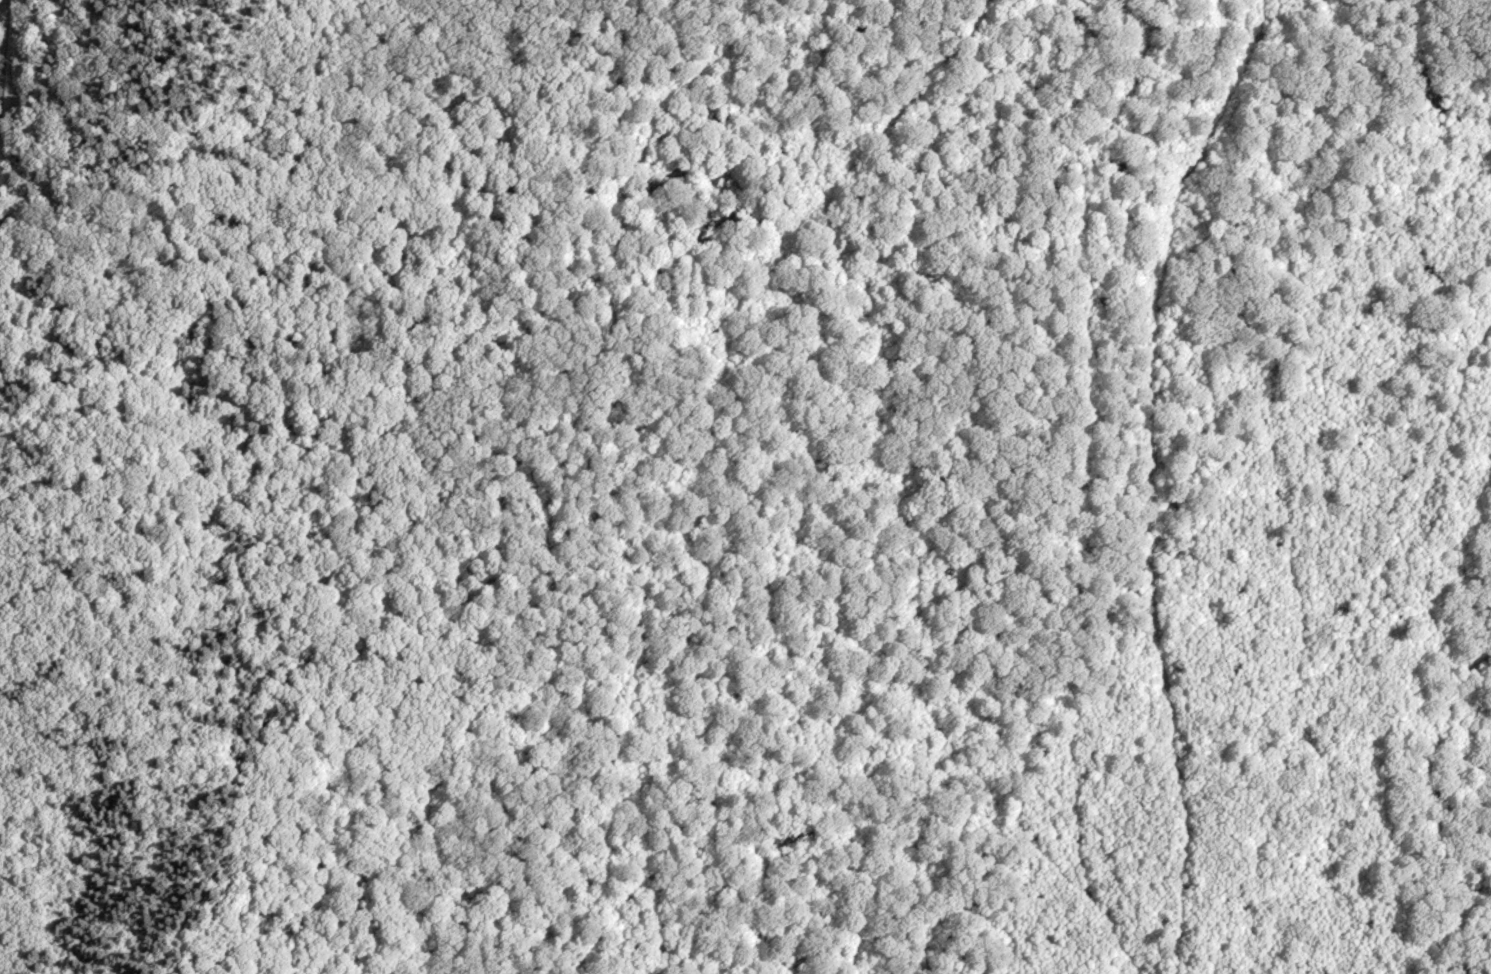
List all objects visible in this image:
road: (3, 43)

